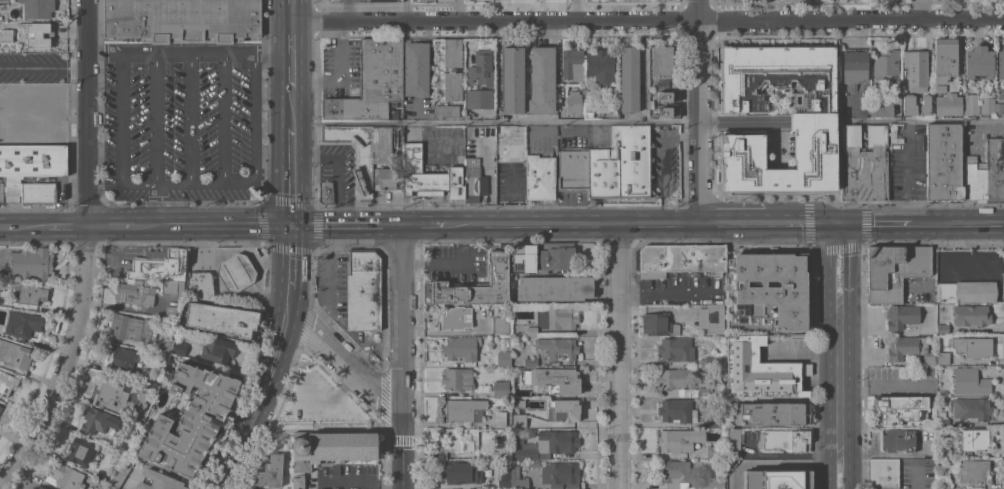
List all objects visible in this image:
parking lot: (351, 0)
building: (385, 0)
building: (820, 0)
building: (38, 8)
road: (348, 10)
building: (182, 20)
road: (646, 20)
road: (290, 26)
building: (38, 34)
building: (7, 35)
road: (339, 50)
building: (451, 52)
road: (187, 53)
road: (120, 57)
road: (154, 57)
road: (188, 57)
road: (222, 57)
road: (253, 58)
building: (944, 59)
building: (662, 60)
building: (978, 62)
building: (885, 63)
building: (572, 65)
building: (854, 65)
building: (1000, 65)
building: (600, 66)
parking lot: (342, 68)
building: (414, 68)
building: (479, 70)
building: (915, 70)
road: (290, 73)
road: (315, 78)
building: (629, 78)
building: (542, 79)
building: (513, 80)
building: (371, 82)
building: (662, 83)
building: (453, 86)
building: (939, 88)
building: (895, 90)
building: (662, 95)
building: (477, 98)
building: (28, 99)
building: (573, 102)
building: (916, 104)
building: (947, 104)
building: (971, 105)
building: (987, 106)
building: (1003, 106)
building: (881, 109)
building: (998, 109)
road: (291, 110)
building: (444, 111)
road: (701, 111)
building: (661, 112)
road: (253, 118)
road: (924, 118)
road: (154, 119)
road: (188, 119)
parking lot: (181, 121)
road: (496, 121)
road: (709, 121)
road: (120, 122)
road: (222, 122)
road: (751, 123)
building: (811, 123)
building: (30, 131)
building: (504, 136)
building: (469, 142)
building: (381, 144)
building: (471, 148)
building: (471, 154)
building: (33, 160)
building: (470, 161)
road: (663, 161)
building: (863, 162)
building: (943, 163)
building: (621, 164)
parking lot: (340, 168)
road: (339, 169)
building: (573, 170)
building: (363, 172)
building: (985, 172)
road: (290, 175)
building: (427, 175)
building: (540, 177)
building: (384, 178)
building: (12, 180)
road: (155, 180)
road: (189, 181)
building: (475, 183)
road: (133, 184)
road: (150, 184)
road: (159, 184)
road: (187, 184)
road: (217, 184)
road: (241, 184)
building: (326, 191)
building: (38, 192)
building: (1, 193)
road: (155, 204)
road: (838, 223)
road: (643, 224)
traffic signals: (841, 224)
road: (925, 224)
road: (111, 225)
road: (152, 225)
road: (229, 225)
traffic signals: (290, 225)
road: (346, 225)
road: (429, 225)
road: (63, 226)
road: (20, 227)
road: (249, 238)
building: (495, 246)
road: (84, 249)
building: (556, 255)
road: (253, 256)
building: (523, 258)
building: (680, 258)
building: (30, 262)
road: (273, 262)
building: (157, 263)
road: (831, 264)
road: (848, 264)
building: (894, 269)
road: (288, 270)
building: (236, 272)
parking lot: (331, 281)
building: (474, 285)
building: (199, 286)
building: (172, 287)
building: (555, 287)
building: (362, 290)
building: (965, 291)
building: (31, 292)
road: (667, 292)
building: (134, 293)
building: (766, 293)
building: (172, 310)
building: (970, 315)
building: (901, 316)
road: (402, 317)
building: (454, 318)
building: (562, 318)
building: (711, 318)
building: (221, 319)
building: (22, 323)
building: (658, 323)
building: (500, 324)
building: (131, 327)
building: (942, 328)
building: (531, 331)
building: (164, 344)
building: (972, 346)
building: (179, 348)
building: (461, 348)
building: (558, 348)
building: (676, 348)
building: (909, 348)
building: (217, 349)
road: (802, 352)
building: (14, 355)
road: (618, 357)
building: (503, 358)
building: (942, 358)
building: (122, 359)
building: (712, 360)
road: (343, 361)
building: (524, 361)
building: (758, 370)
road: (839, 377)
building: (554, 378)
building: (457, 379)
building: (678, 380)
building: (969, 381)
building: (7, 382)
building: (500, 387)
building: (703, 391)
building: (531, 393)
building: (108, 394)
road: (256, 405)
building: (1, 407)
building: (513, 407)
building: (136, 408)
building: (972, 408)
building: (555, 409)
building: (463, 410)
building: (677, 411)
building: (900, 411)
building: (771, 414)
building: (499, 419)
building: (942, 419)
building: (99, 420)
building: (190, 420)
building: (517, 421)
building: (713, 422)
building: (461, 438)
building: (975, 439)
building: (677, 440)
building: (784, 440)
building: (898, 440)
building: (733, 442)
building: (120, 444)
building: (545, 444)
building: (331, 447)
road: (401, 448)
building: (498, 449)
building: (81, 451)
building: (943, 451)
building: (714, 452)
building: (530, 463)
building: (731, 463)
road: (830, 468)
road: (849, 468)
building: (974, 471)
building: (270, 472)
building: (460, 472)
building: (563, 472)
building: (119, 473)
building: (674, 473)
building: (883, 473)
building: (64, 476)
road: (917, 477)
building: (504, 479)
building: (517, 479)
building: (778, 479)
building: (159, 481)
building: (298, 481)
building: (943, 481)
building: (713, 484)
building: (734, 486)
building: (39, 487)
building: (90, 488)

